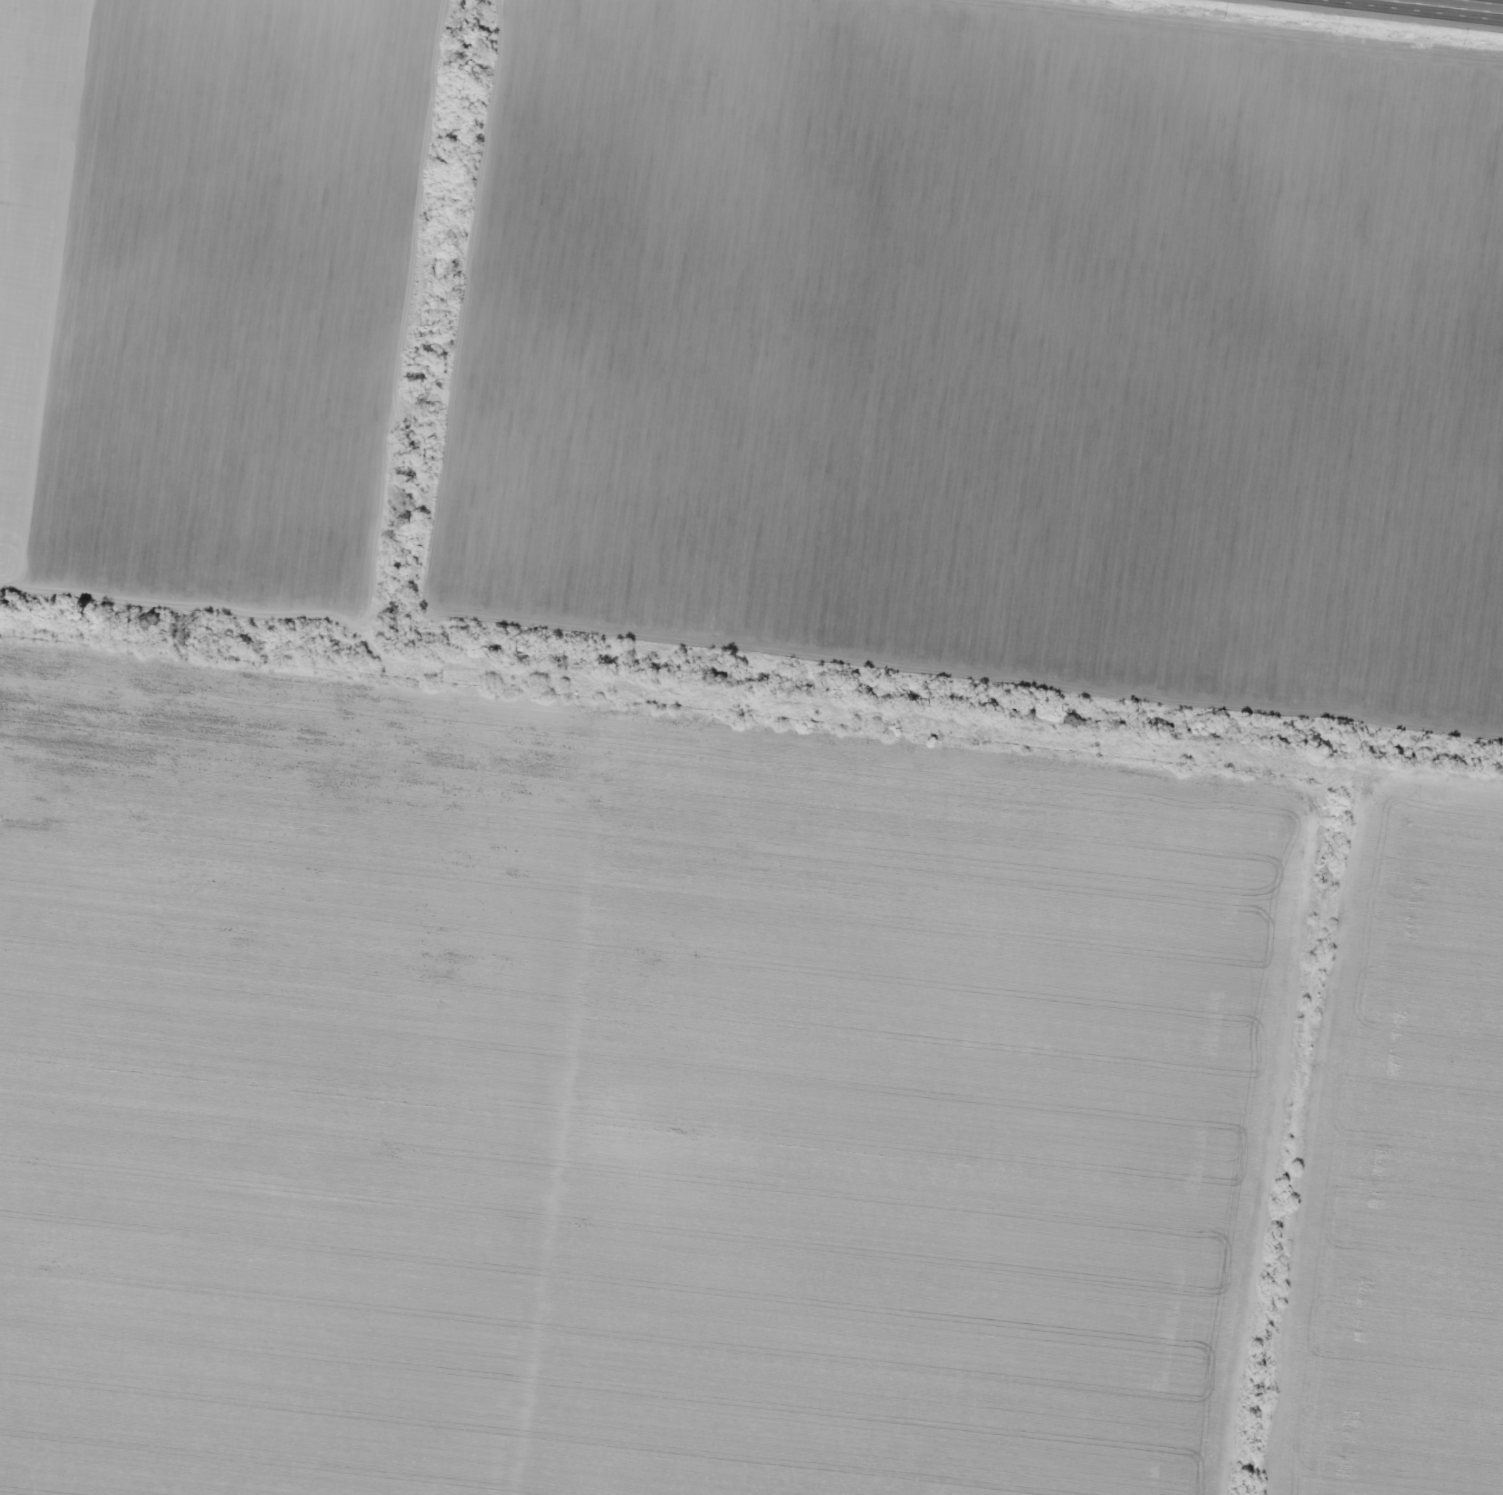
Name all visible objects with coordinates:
road: (1469, 3)

